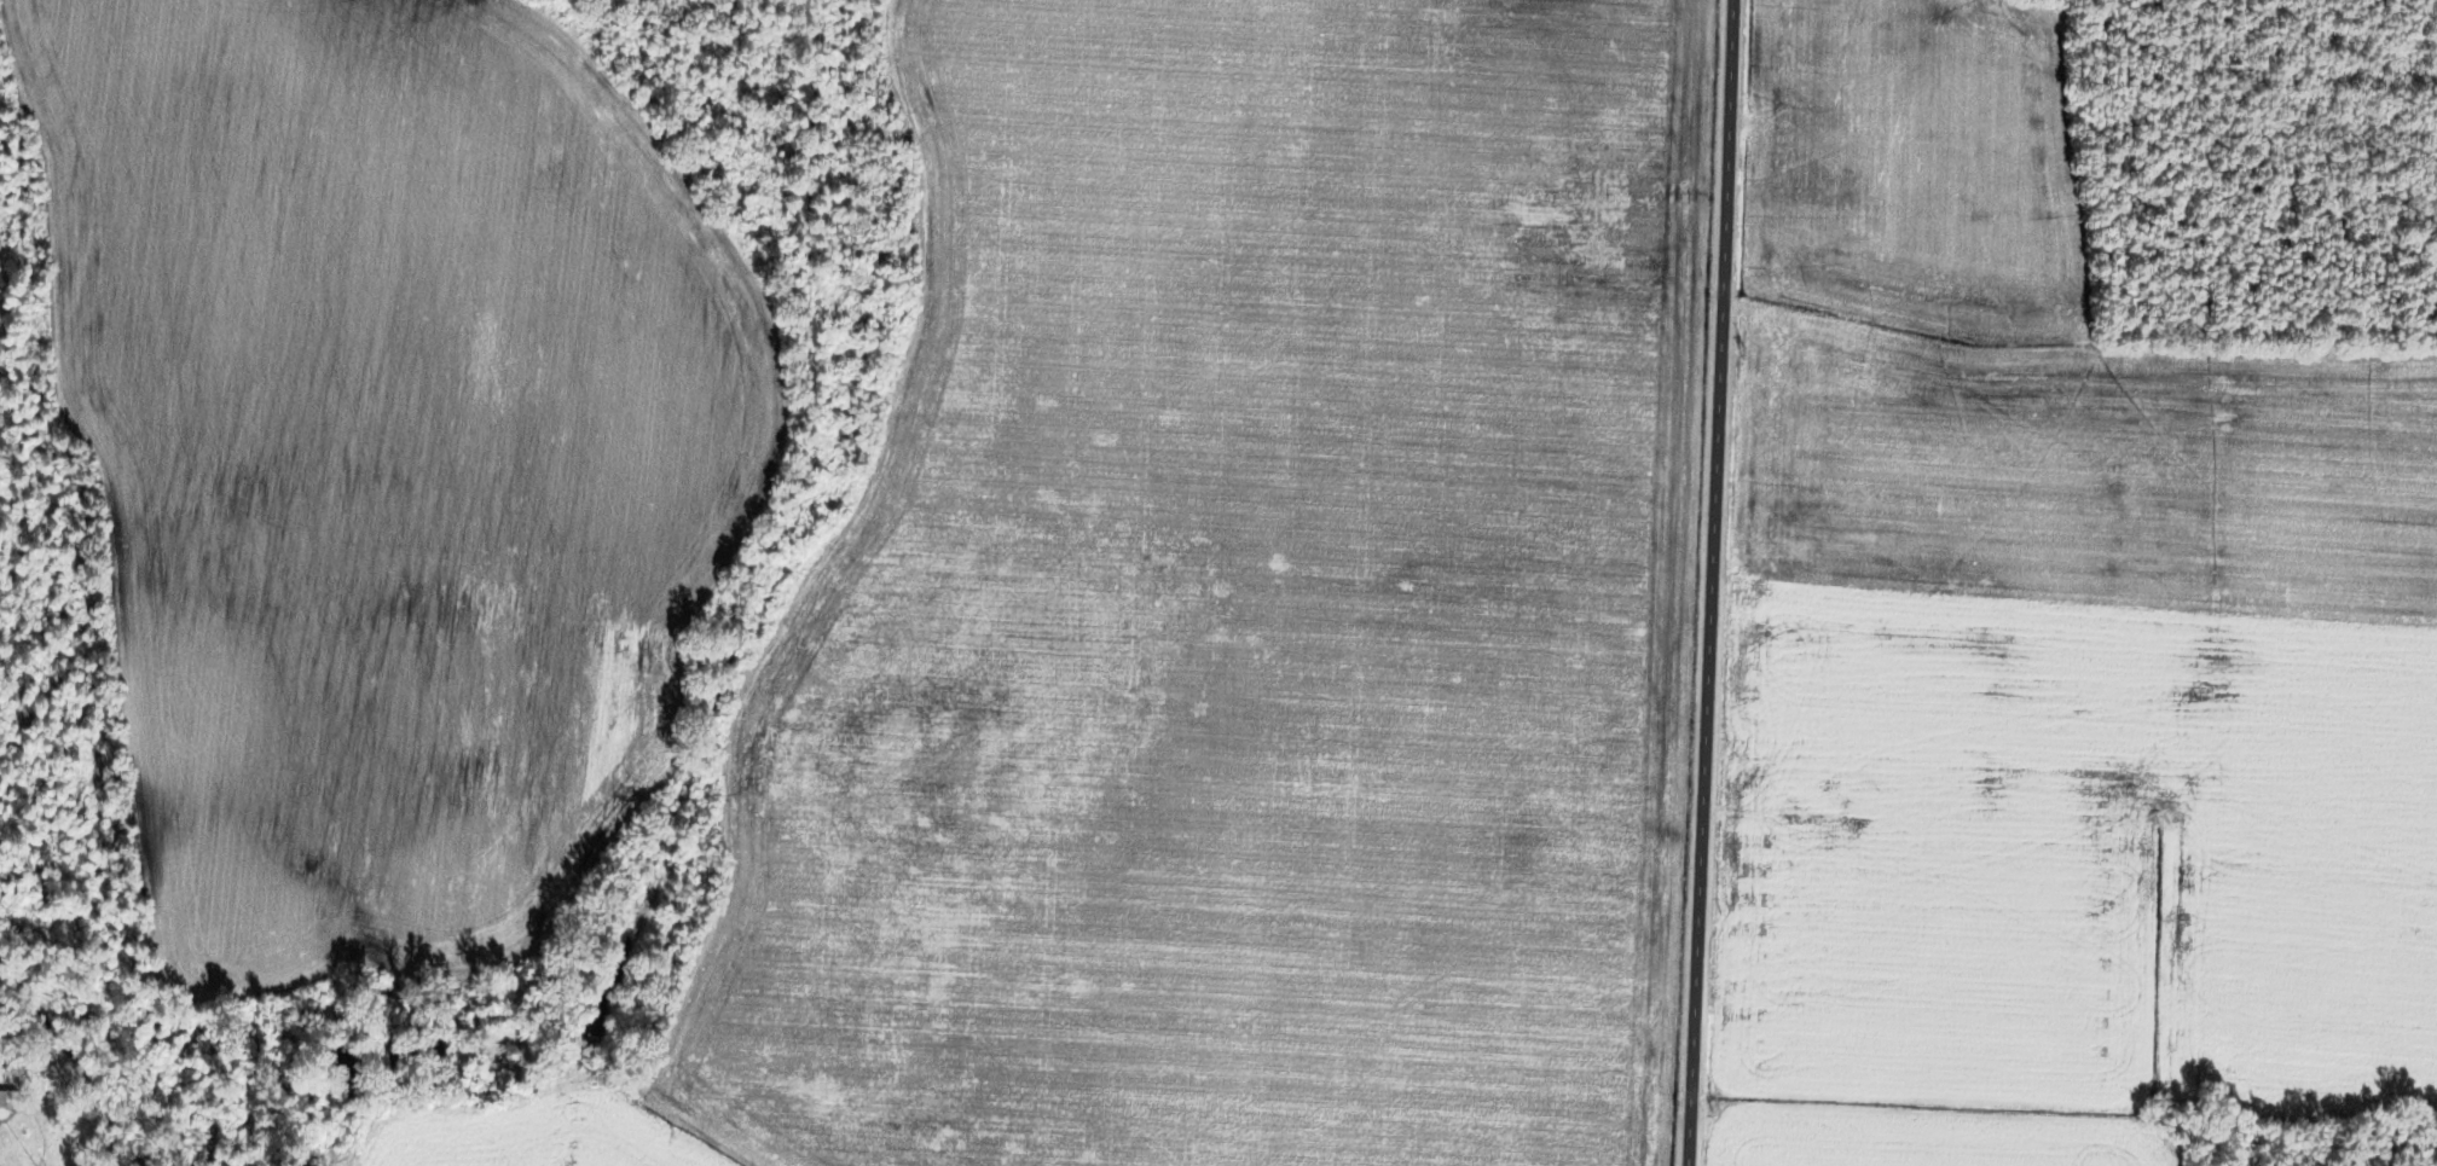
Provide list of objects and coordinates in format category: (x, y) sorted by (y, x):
road: (1720, 582)
building: (4, 1098)

